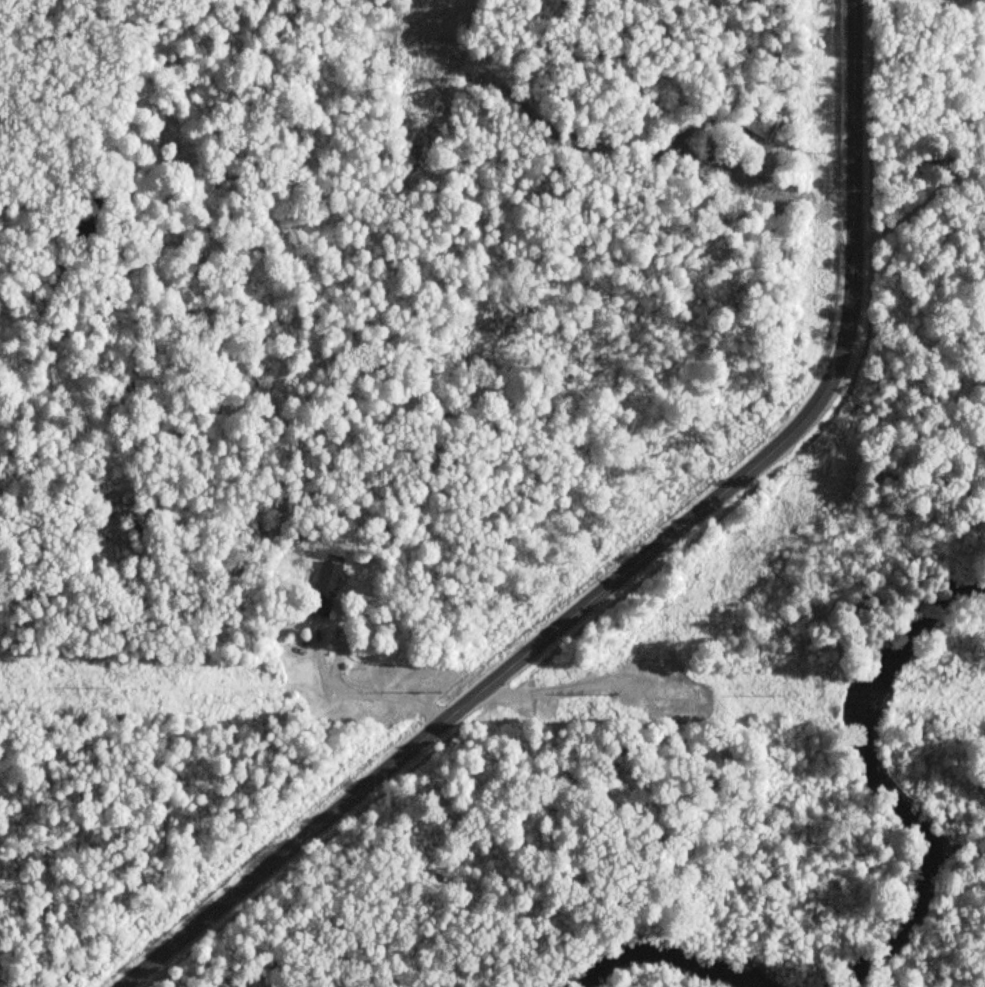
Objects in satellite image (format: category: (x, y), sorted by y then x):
road: (949, 161)
road: (961, 197)
park: (920, 206)
road: (898, 224)
road: (629, 564)
building: (329, 578)
road: (322, 679)
river: (874, 779)
river: (666, 955)

